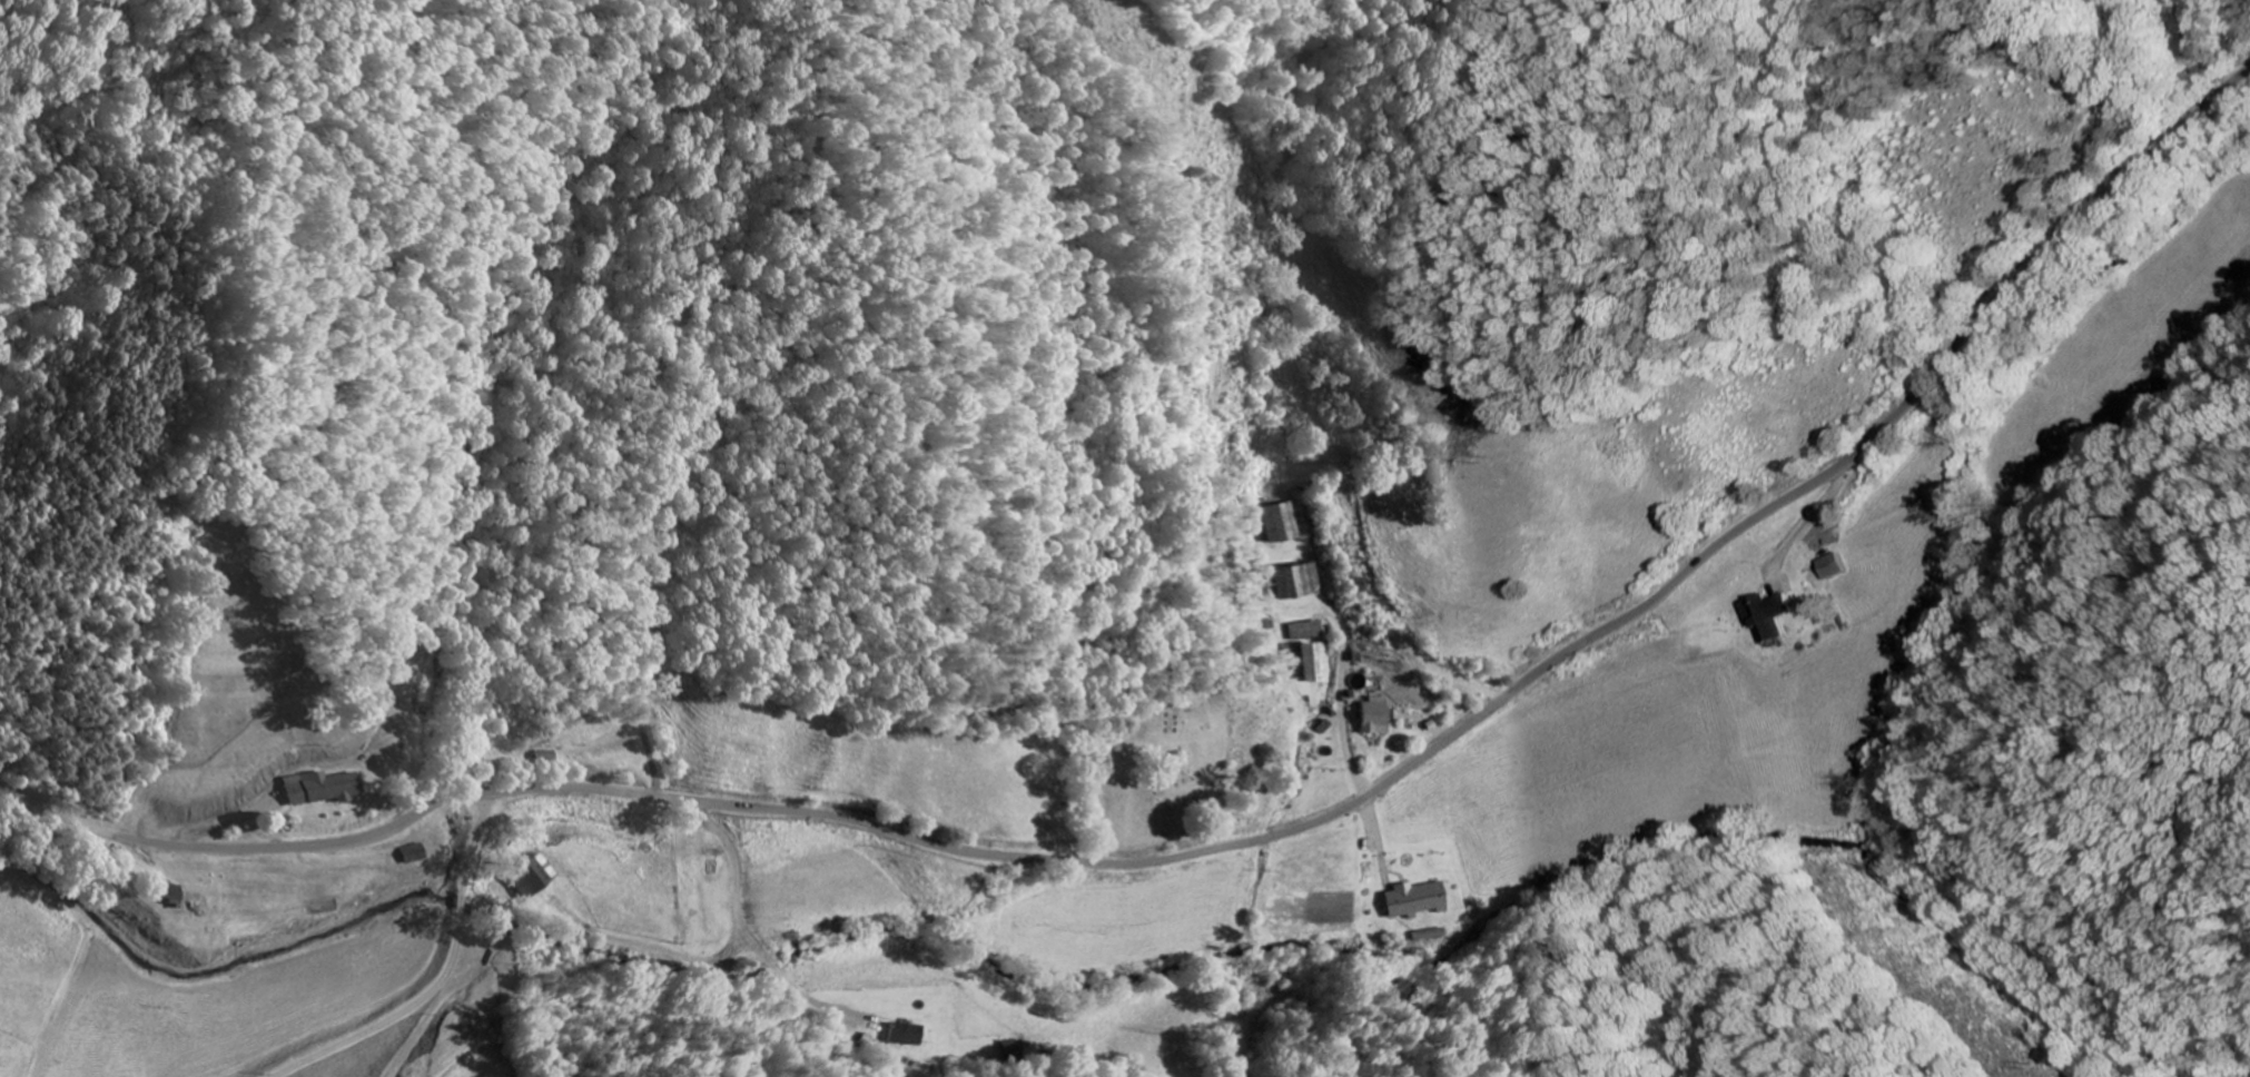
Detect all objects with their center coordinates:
building: (1283, 521)
building: (1830, 565)
road: (1927, 577)
building: (1295, 580)
building: (1766, 614)
building: (1305, 630)
building: (1307, 662)
building: (1371, 715)
park: (1166, 755)
building: (314, 787)
road: (1247, 841)
road: (424, 868)
building: (529, 876)
road: (1489, 891)
building: (1414, 899)
road: (402, 970)
building: (908, 1034)

